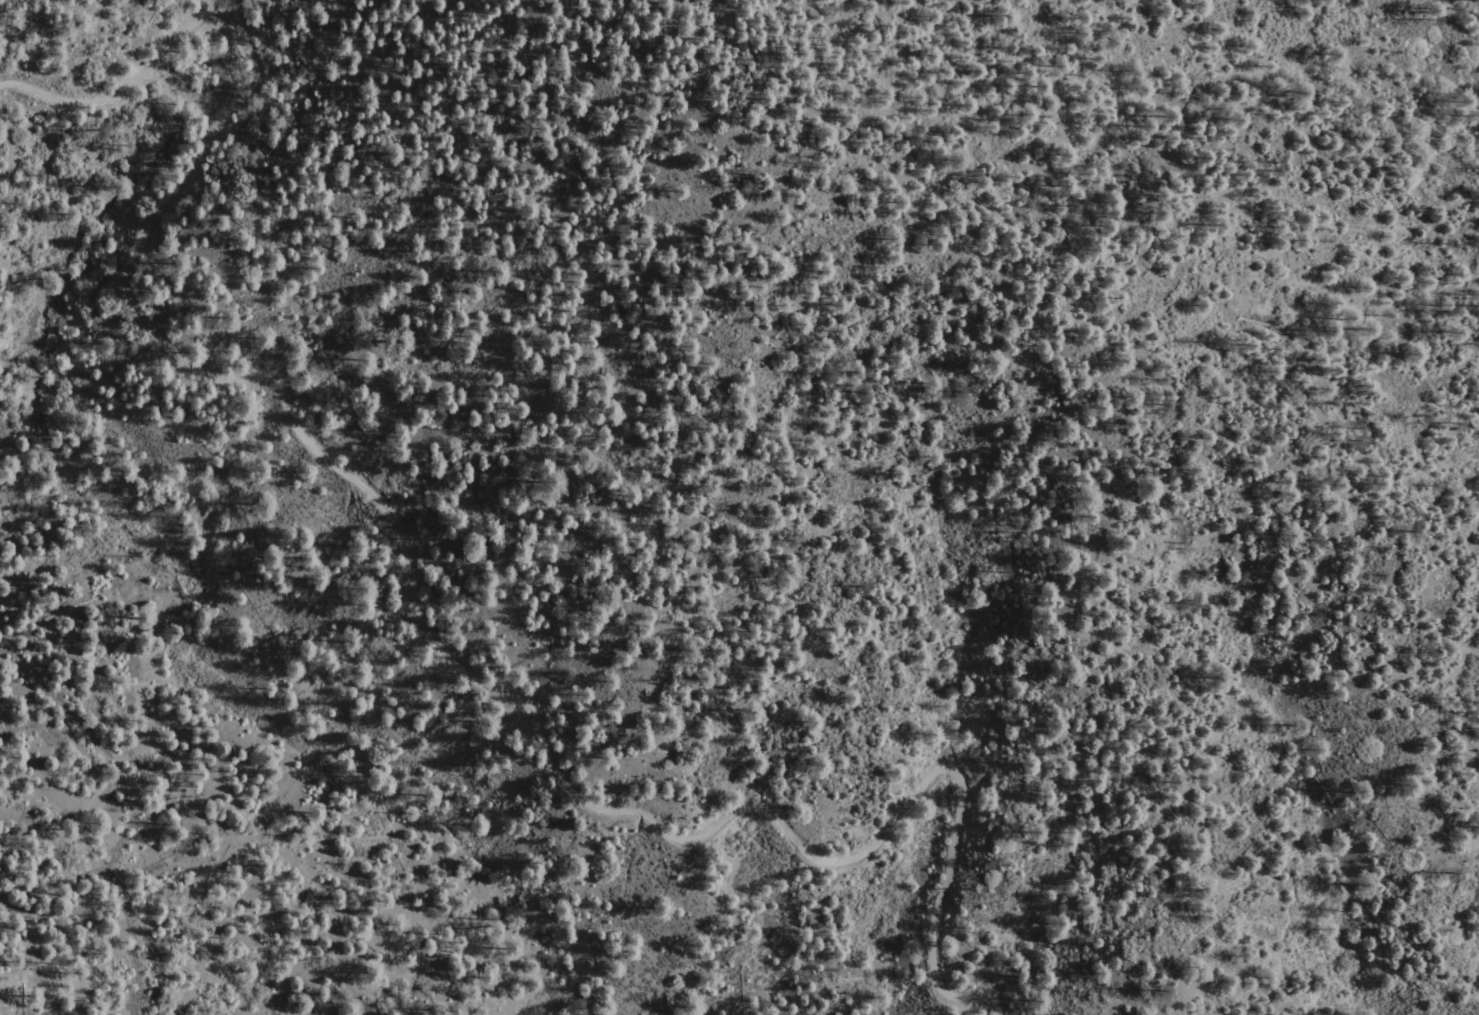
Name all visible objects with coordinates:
road: (410, 586)

